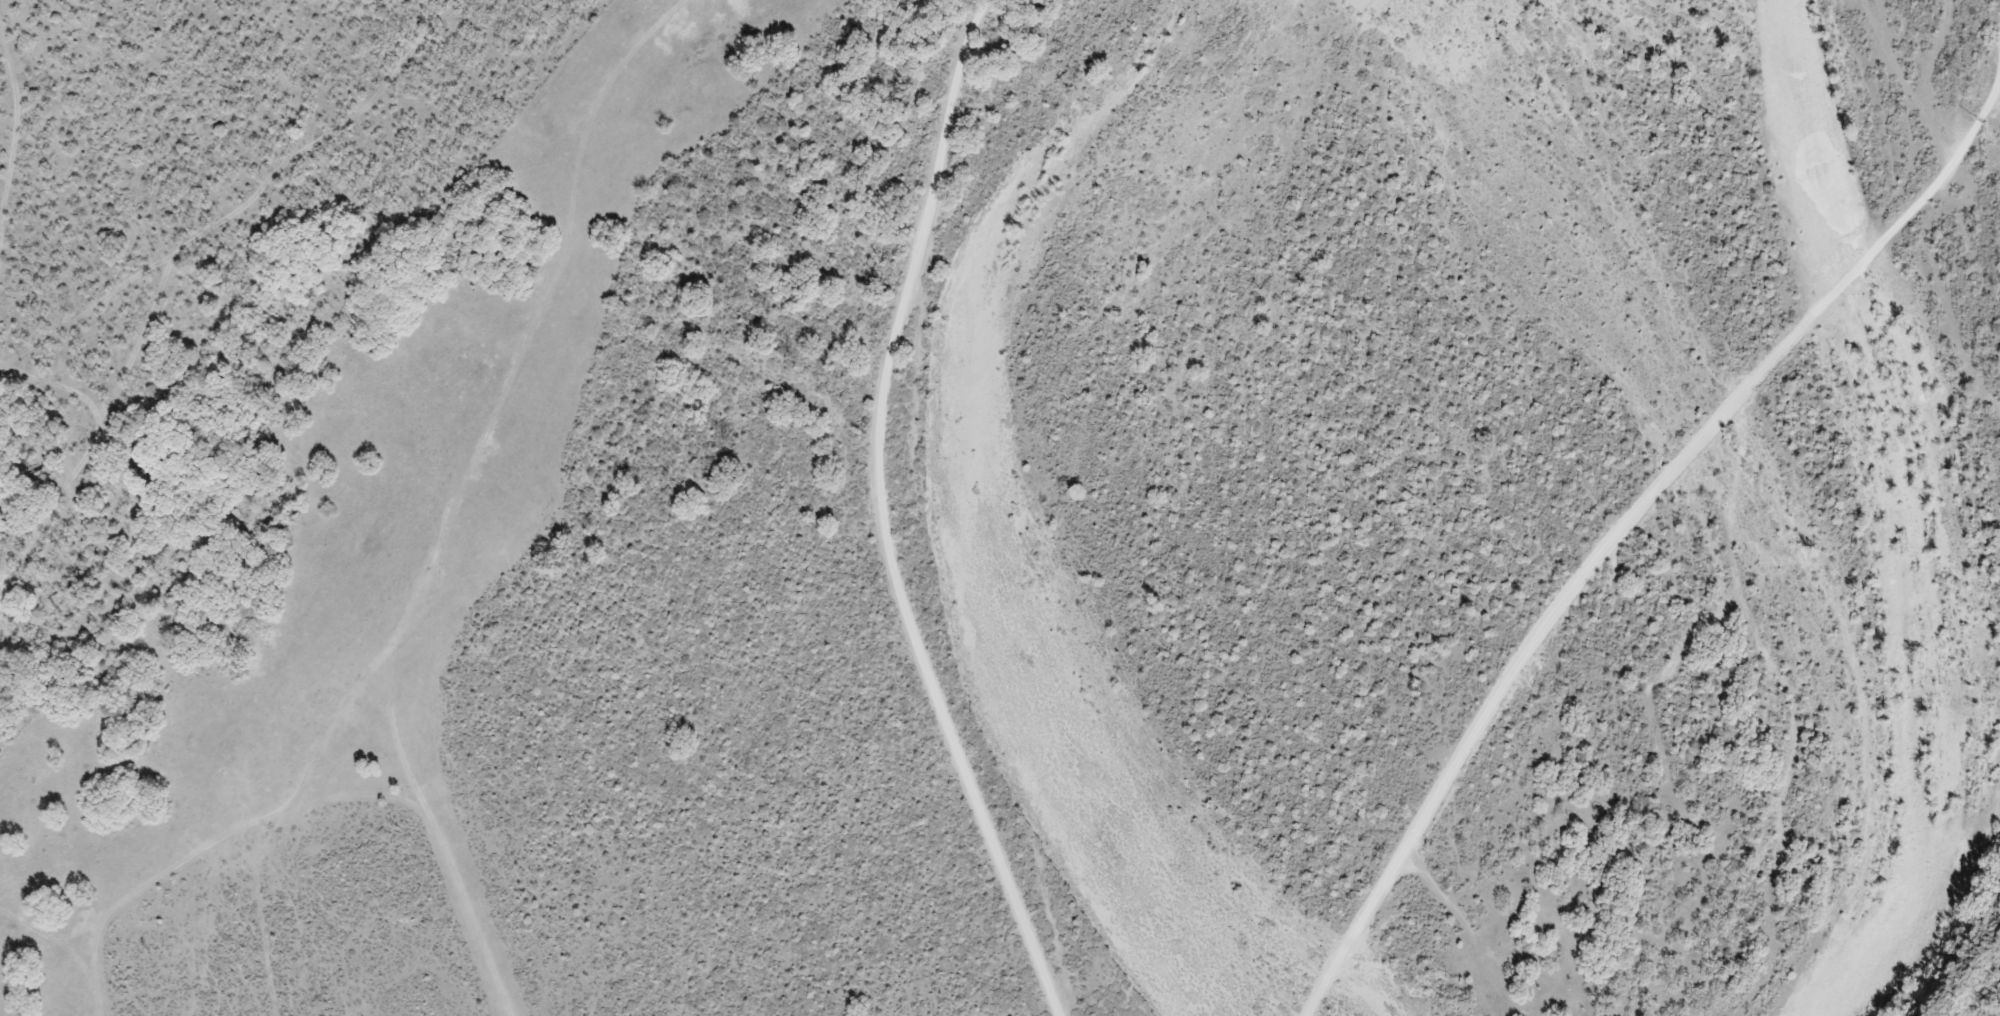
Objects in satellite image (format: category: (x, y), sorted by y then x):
road: (862, 214)
road: (185, 255)
road: (887, 512)
road: (1624, 525)
road: (189, 864)
airport runway: (462, 909)

